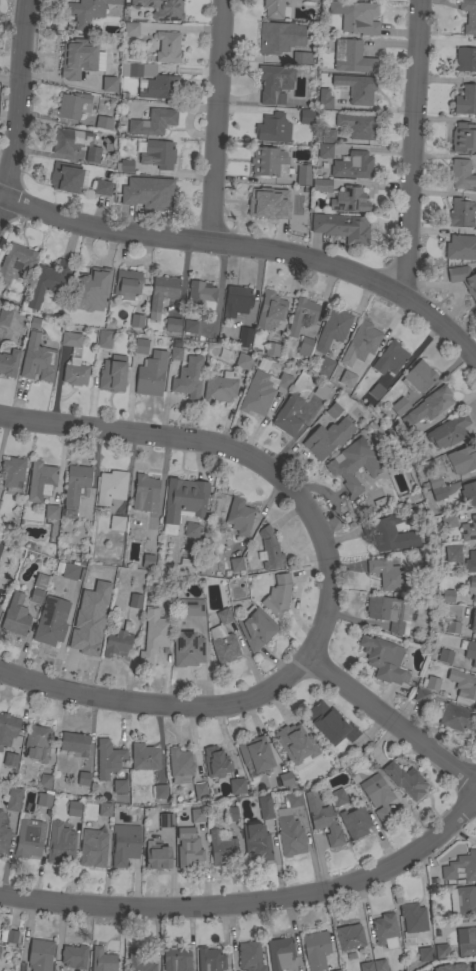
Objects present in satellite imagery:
building: (273, 8)
building: (161, 9)
building: (87, 11)
building: (469, 15)
building: (356, 16)
building: (130, 29)
building: (279, 37)
building: (167, 47)
building: (79, 56)
building: (351, 57)
building: (301, 58)
building: (465, 59)
building: (134, 70)
building: (274, 83)
building: (108, 84)
building: (160, 87)
building: (358, 89)
building: (324, 99)
road: (14, 100)
building: (465, 100)
building: (73, 105)
building: (306, 116)
road: (215, 120)
building: (103, 122)
building: (152, 122)
building: (357, 125)
building: (273, 128)
building: (328, 135)
building: (464, 137)
building: (74, 143)
road: (409, 148)
building: (324, 150)
building: (158, 154)
building: (267, 161)
building: (355, 164)
building: (124, 166)
building: (303, 174)
building: (461, 174)
building: (65, 177)
building: (321, 185)
building: (102, 187)
building: (148, 197)
building: (349, 200)
building: (268, 203)
building: (460, 212)
building: (341, 227)
building: (461, 246)
road: (254, 248)
building: (15, 261)
building: (464, 279)
building: (48, 281)
building: (127, 284)
building: (91, 290)
building: (161, 293)
building: (200, 294)
building: (236, 300)
building: (270, 310)
building: (301, 315)
building: (4, 316)
building: (136, 321)
building: (172, 325)
building: (189, 327)
building: (332, 329)
building: (244, 336)
building: (103, 338)
building: (70, 339)
building: (364, 340)
building: (140, 346)
building: (304, 346)
building: (272, 349)
building: (175, 353)
building: (389, 358)
building: (37, 359)
building: (243, 361)
building: (9, 362)
building: (344, 364)
building: (260, 365)
building: (324, 367)
building: (75, 372)
building: (150, 374)
building: (111, 376)
building: (418, 376)
building: (188, 377)
building: (344, 380)
building: (284, 381)
building: (219, 387)
building: (321, 390)
building: (376, 390)
building: (256, 394)
building: (399, 406)
building: (428, 406)
building: (333, 410)
building: (287, 415)
building: (448, 431)
building: (327, 438)
road: (241, 453)
building: (415, 455)
building: (460, 460)
building: (352, 465)
building: (12, 472)
building: (41, 481)
building: (110, 487)
building: (436, 487)
building: (75, 488)
building: (144, 493)
building: (468, 493)
building: (183, 498)
building: (51, 511)
building: (239, 516)
building: (448, 521)
building: (116, 523)
building: (469, 529)
building: (191, 530)
building: (389, 532)
building: (1, 544)
building: (270, 549)
building: (452, 552)
building: (148, 561)
building: (470, 562)
building: (235, 564)
building: (67, 570)
building: (386, 574)
building: (277, 595)
building: (36, 596)
building: (447, 596)
building: (474, 597)
building: (134, 600)
building: (0, 605)
building: (100, 605)
building: (190, 607)
building: (390, 612)
building: (15, 616)
building: (473, 620)
building: (51, 621)
building: (451, 627)
building: (255, 628)
building: (83, 633)
building: (154, 634)
building: (223, 639)
building: (118, 640)
building: (187, 649)
building: (470, 652)
building: (445, 656)
building: (383, 659)
building: (432, 683)
building: (463, 684)
road: (260, 692)
building: (421, 695)
building: (457, 717)
building: (329, 724)
building: (8, 726)
building: (36, 743)
building: (295, 743)
building: (74, 744)
building: (255, 754)
building: (144, 757)
building: (107, 758)
building: (10, 760)
building: (216, 761)
building: (179, 765)
building: (83, 778)
building: (285, 779)
building: (44, 780)
building: (405, 780)
building: (119, 786)
building: (236, 786)
building: (199, 790)
building: (160, 791)
building: (377, 796)
building: (337, 797)
building: (293, 798)
building: (13, 799)
building: (44, 800)
building: (73, 808)
building: (265, 808)
building: (104, 809)
building: (0, 813)
building: (231, 813)
building: (197, 815)
building: (323, 819)
building: (165, 820)
building: (355, 822)
building: (289, 835)
building: (28, 838)
building: (3, 839)
building: (256, 841)
building: (59, 844)
building: (124, 844)
building: (92, 846)
building: (187, 847)
building: (222, 849)
building: (157, 857)
building: (460, 866)
road: (252, 899)
building: (463, 901)
building: (412, 921)
building: (385, 930)
building: (9, 936)
building: (350, 937)
building: (467, 943)
building: (316, 950)
building: (441, 951)
building: (281, 953)
building: (424, 954)
building: (40, 955)
building: (250, 956)
building: (74, 957)
building: (176, 959)
building: (210, 959)
building: (103, 960)
building: (138, 962)
building: (379, 965)
building: (366, 966)
building: (450, 967)
building: (473, 967)
building: (339, 970)

